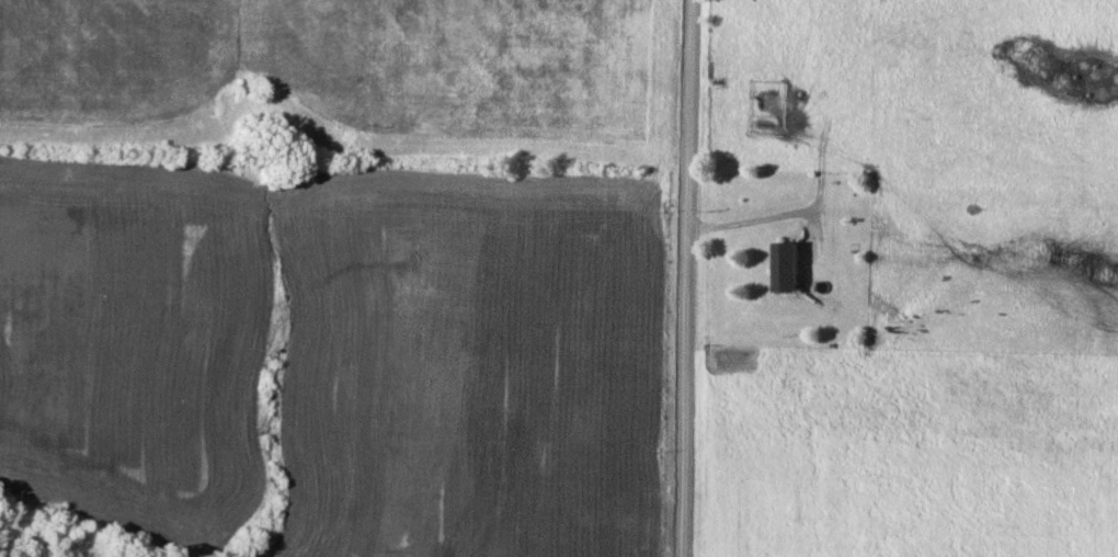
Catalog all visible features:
road: (752, 219)
building: (788, 268)
road: (688, 278)

